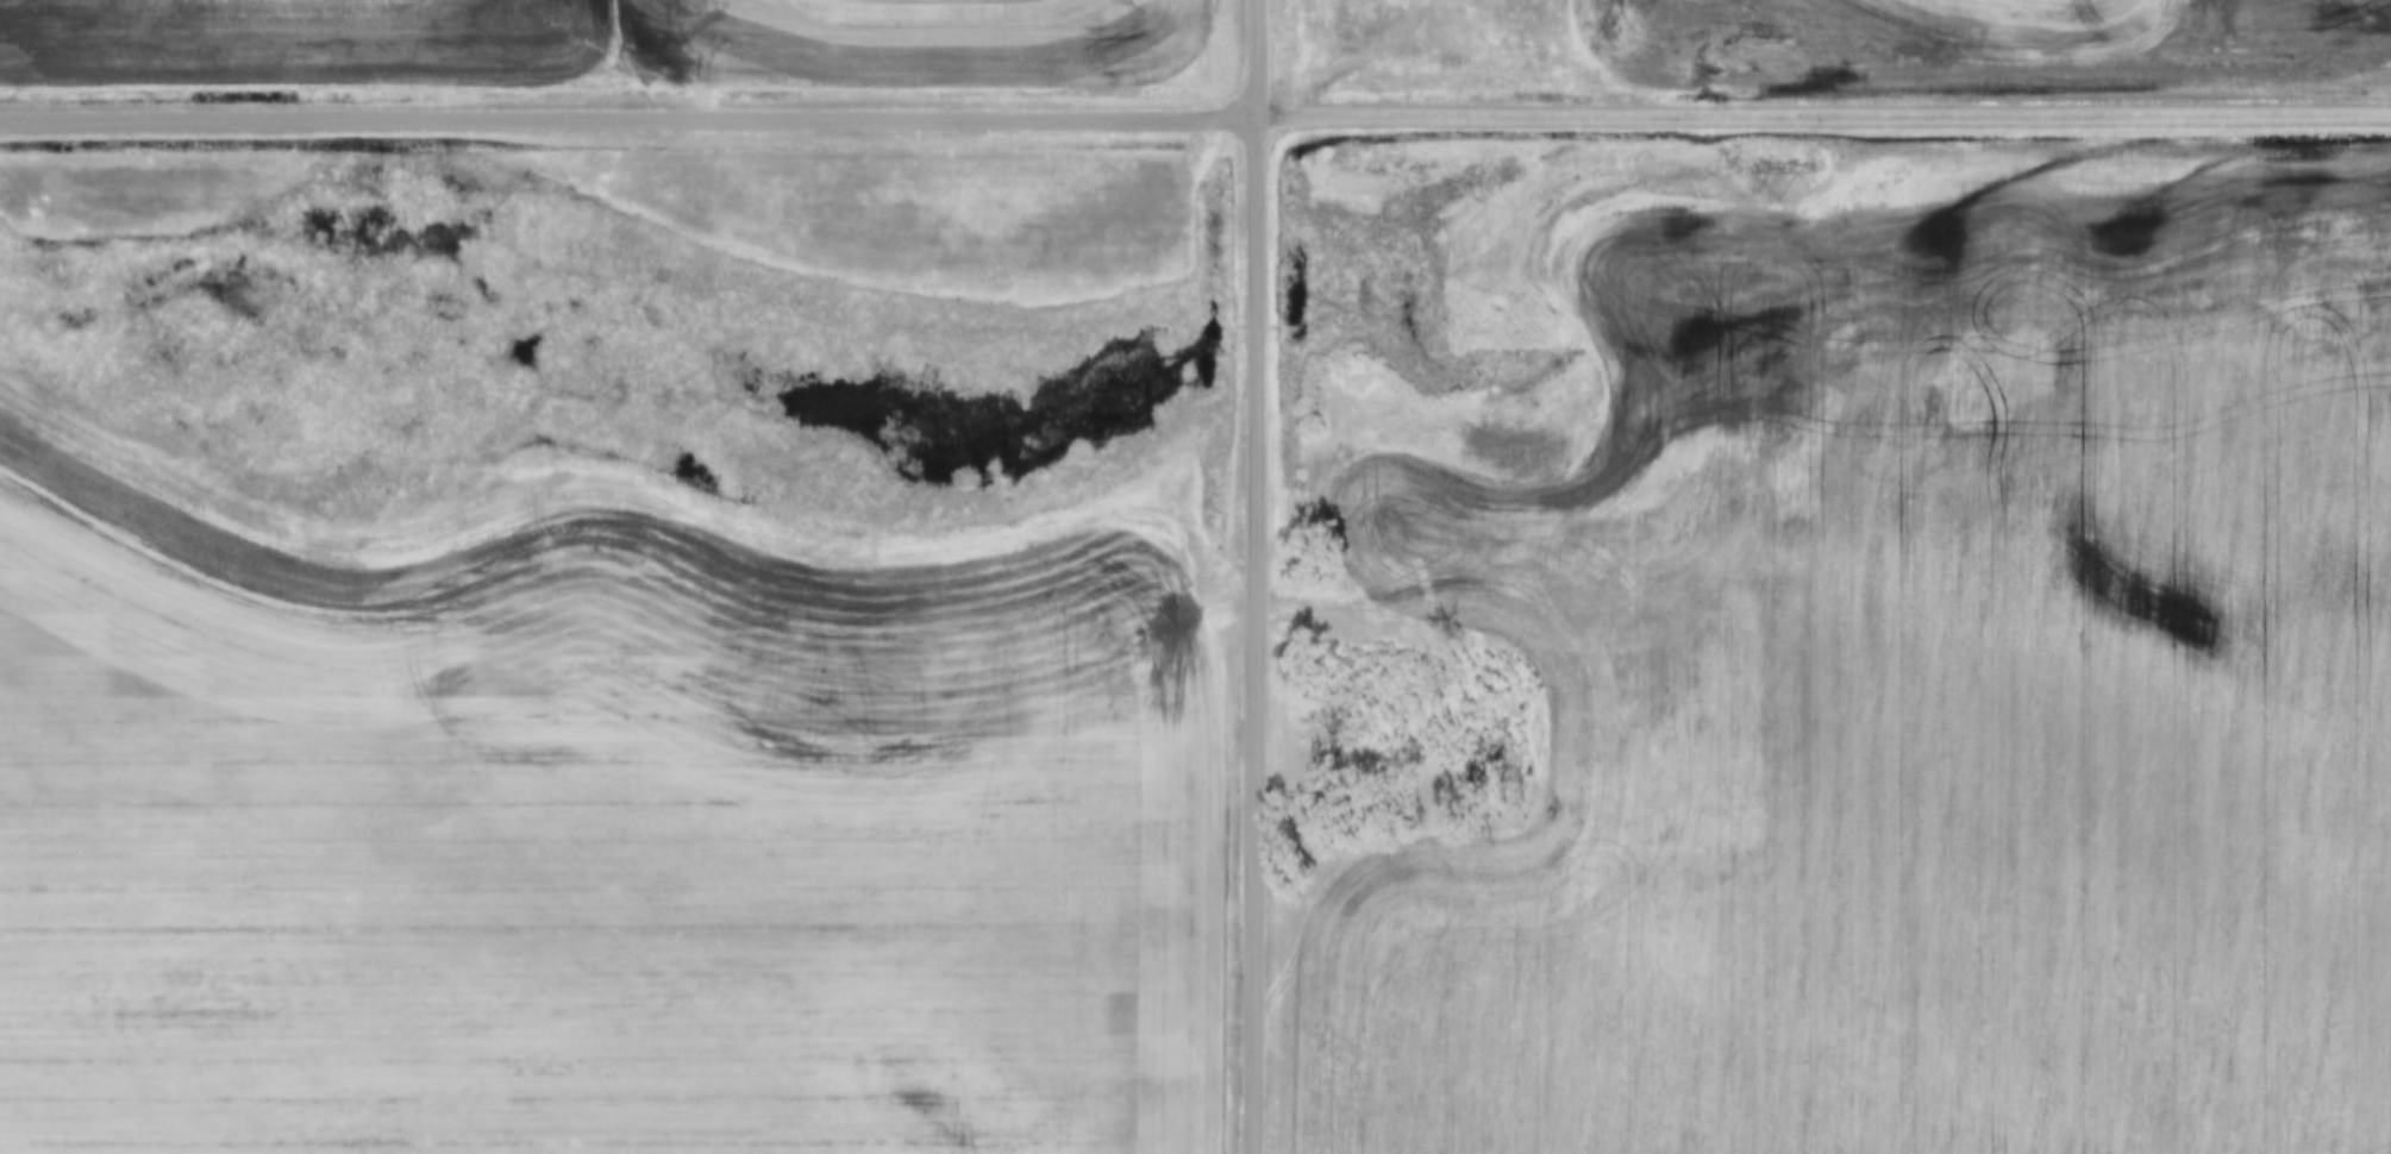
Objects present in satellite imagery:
road: (1824, 102)
road: (628, 112)
road: (1256, 577)

